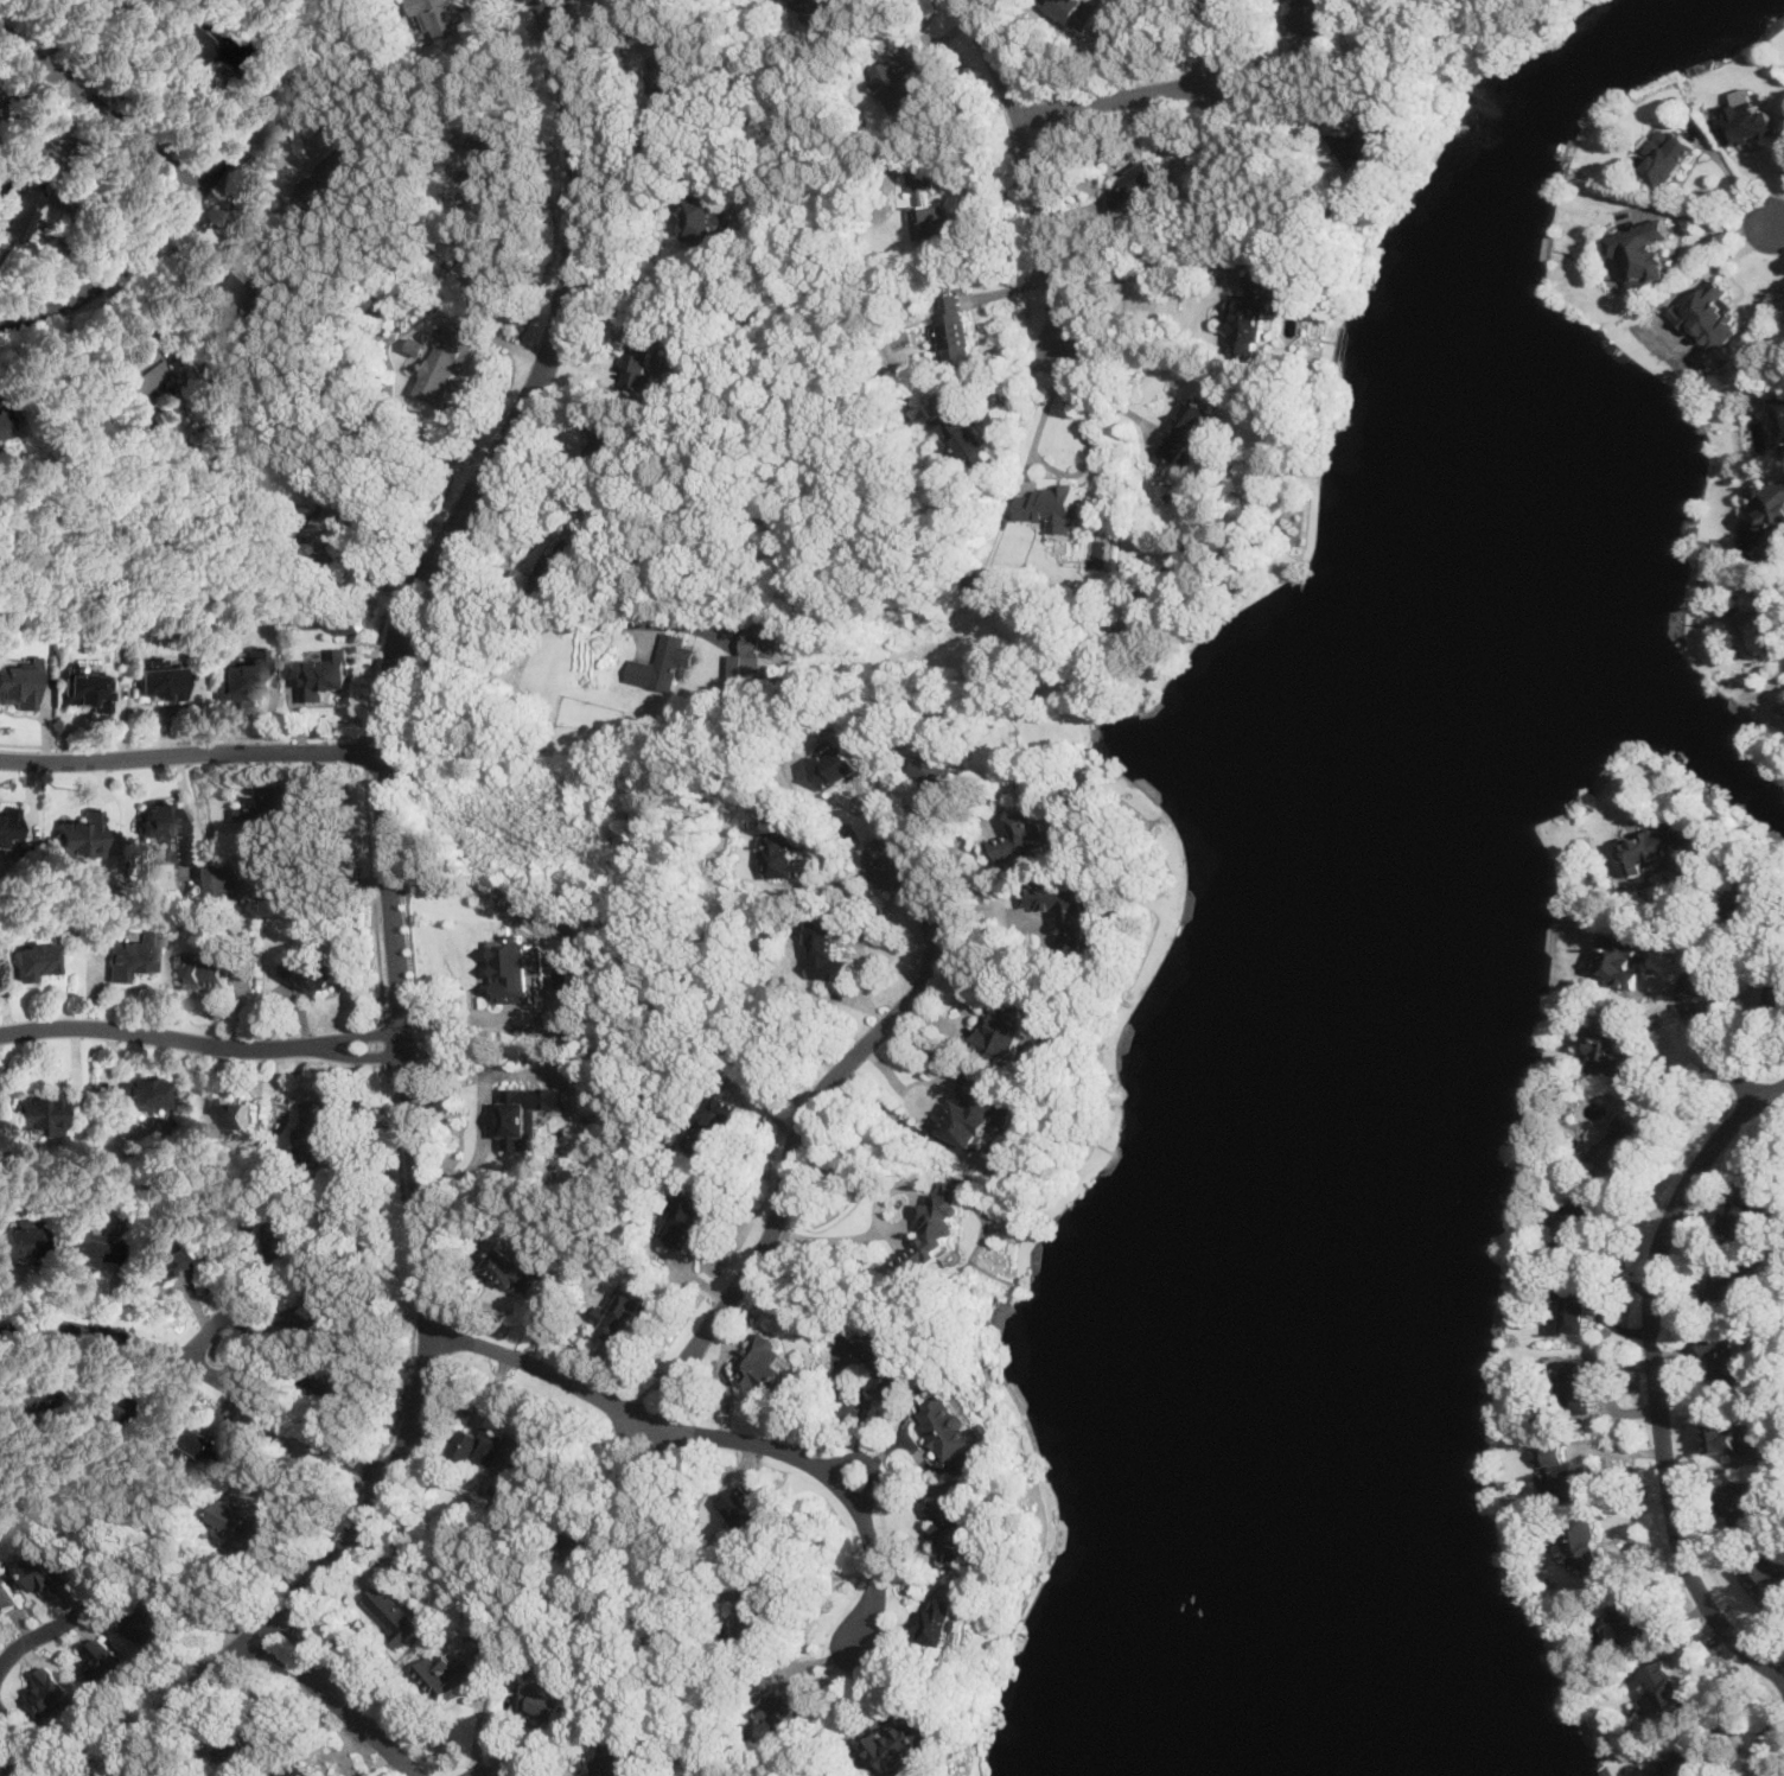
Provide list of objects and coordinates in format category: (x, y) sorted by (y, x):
building: (807, 7)
building: (1075, 11)
building: (1305, 17)
building: (441, 18)
road: (1206, 39)
building: (187, 43)
building: (894, 79)
building: (668, 85)
road: (1117, 96)
road: (1263, 110)
road: (98, 113)
building: (1750, 120)
building: (1359, 141)
building: (1665, 157)
road: (1030, 166)
building: (484, 168)
building: (329, 176)
road: (1733, 176)
building: (918, 177)
building: (1134, 184)
road: (198, 192)
building: (19, 211)
building: (703, 214)
building: (928, 221)
road: (1775, 225)
building: (1642, 253)
road: (1145, 269)
road: (638, 275)
building: (251, 288)
building: (1251, 314)
building: (1710, 316)
building: (954, 325)
building: (639, 359)
building: (438, 364)
building: (142, 374)
road: (1102, 392)
building: (1780, 410)
building: (5, 427)
building: (1185, 429)
building: (961, 433)
building: (605, 443)
road: (1081, 470)
road: (527, 507)
building: (1050, 507)
building: (1772, 511)
building: (557, 561)
building: (983, 585)
building: (1767, 613)
road: (550, 619)
building: (351, 623)
building: (750, 657)
building: (664, 663)
building: (324, 671)
building: (240, 676)
building: (19, 685)
building: (158, 685)
building: (84, 690)
building: (1782, 701)
road: (248, 736)
road: (365, 747)
road: (191, 753)
building: (837, 762)
building: (942, 772)
building: (274, 807)
building: (7, 827)
building: (160, 828)
building: (1025, 833)
building: (78, 836)
building: (1659, 845)
road: (948, 851)
building: (785, 853)
road: (320, 873)
building: (225, 878)
road: (372, 890)
building: (1752, 898)
building: (1069, 912)
road: (1017, 923)
road: (393, 927)
road: (1694, 935)
road: (862, 947)
building: (828, 949)
building: (1623, 957)
building: (128, 959)
building: (33, 962)
building: (520, 966)
building: (202, 972)
building: (311, 973)
building: (1778, 994)
building: (1006, 1027)
road: (387, 1040)
road: (200, 1043)
road: (1719, 1048)
building: (1616, 1050)
building: (141, 1094)
road: (483, 1106)
building: (227, 1112)
building: (528, 1112)
building: (976, 1113)
building: (38, 1115)
building: (713, 1126)
road: (798, 1126)
building: (317, 1129)
building: (1620, 1140)
building: (1745, 1202)
building: (684, 1216)
building: (1582, 1222)
building: (936, 1230)
building: (218, 1235)
road: (841, 1236)
building: (293, 1239)
building: (23, 1241)
building: (85, 1248)
road: (409, 1263)
road: (1772, 1265)
building: (157, 1267)
building: (517, 1272)
building: (1727, 1282)
building: (326, 1309)
building: (1579, 1310)
building: (622, 1313)
road: (232, 1319)
building: (1726, 1357)
building: (880, 1358)
building: (763, 1363)
road: (204, 1373)
road: (1655, 1376)
building: (332, 1383)
building: (1579, 1384)
building: (21, 1399)
building: (100, 1405)
building: (945, 1425)
road: (719, 1434)
building: (1722, 1436)
building: (177, 1440)
building: (501, 1450)
road: (635, 1466)
road: (370, 1468)
building: (1569, 1473)
building: (1741, 1503)
building: (743, 1513)
building: (243, 1522)
building: (952, 1526)
building: (584, 1536)
road: (139, 1540)
building: (1586, 1548)
building: (50, 1570)
building: (1770, 1573)
building: (7, 1591)
building: (753, 1611)
building: (395, 1612)
building: (145, 1618)
building: (942, 1622)
building: (1633, 1623)
road: (656, 1625)
road: (49, 1629)
road: (215, 1630)
building: (106, 1662)
road: (1780, 1667)
building: (442, 1674)
building: (1668, 1687)
building: (51, 1693)
road: (344, 1700)
building: (543, 1701)
building: (783, 1710)
building: (246, 1742)
building: (904, 1743)
road: (11, 1745)
road: (1777, 1755)
road: (149, 1757)
building: (618, 1761)
building: (1682, 1763)
road: (478, 1769)
building: (301, 1770)

